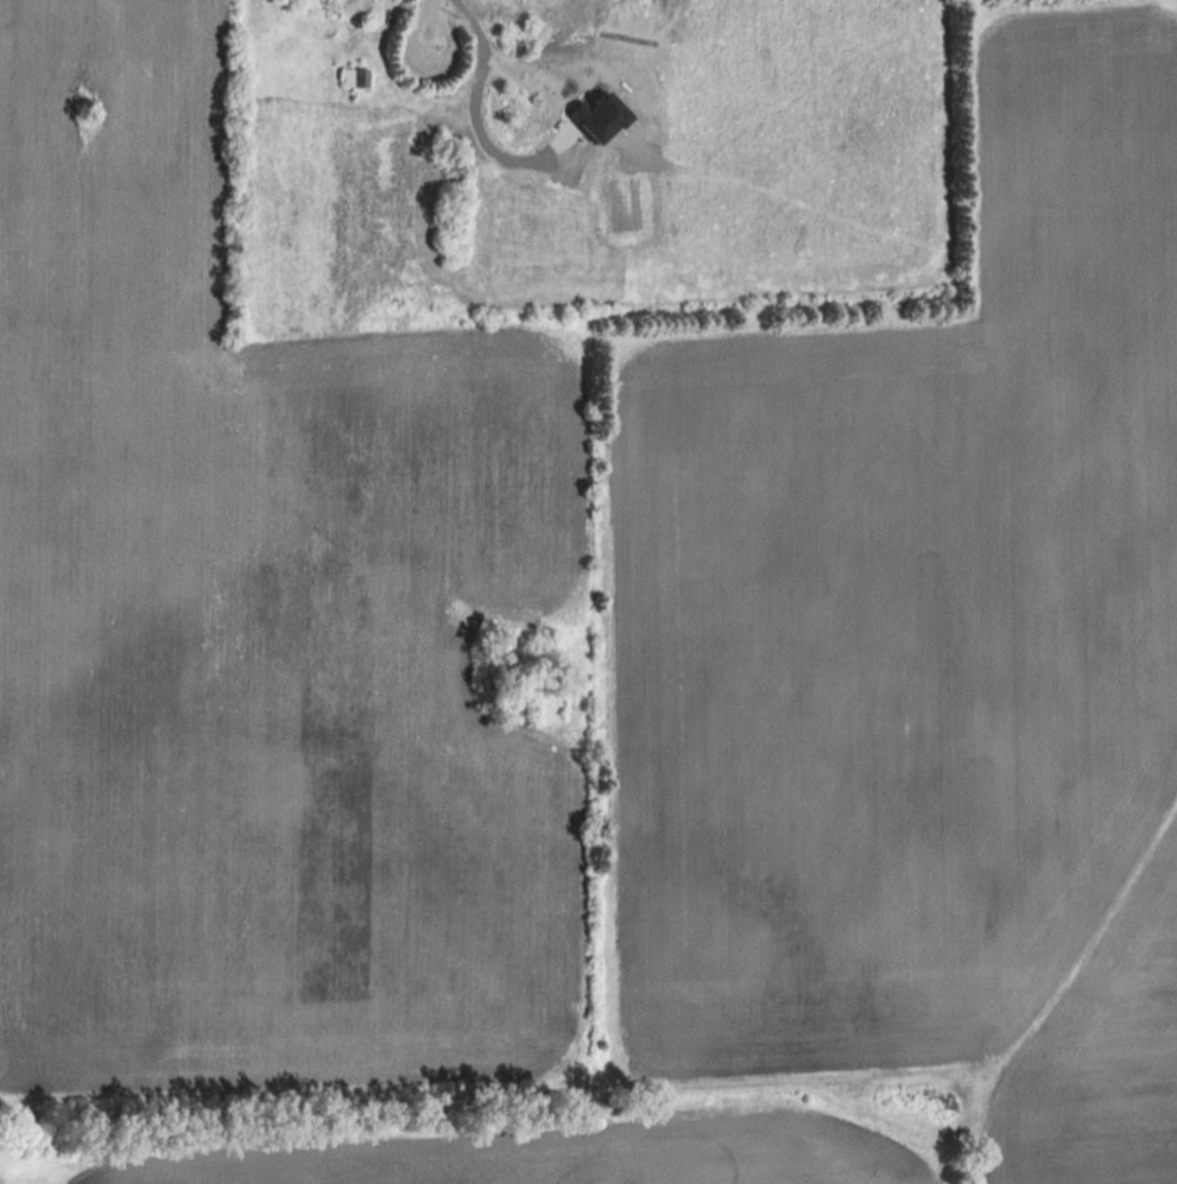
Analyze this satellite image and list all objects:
building: (305, 4)
building: (501, 13)
road: (423, 40)
building: (521, 100)
crop: (730, 160)
crop: (911, 609)
crop: (257, 627)
crop: (1103, 1056)
crop: (561, 1155)

